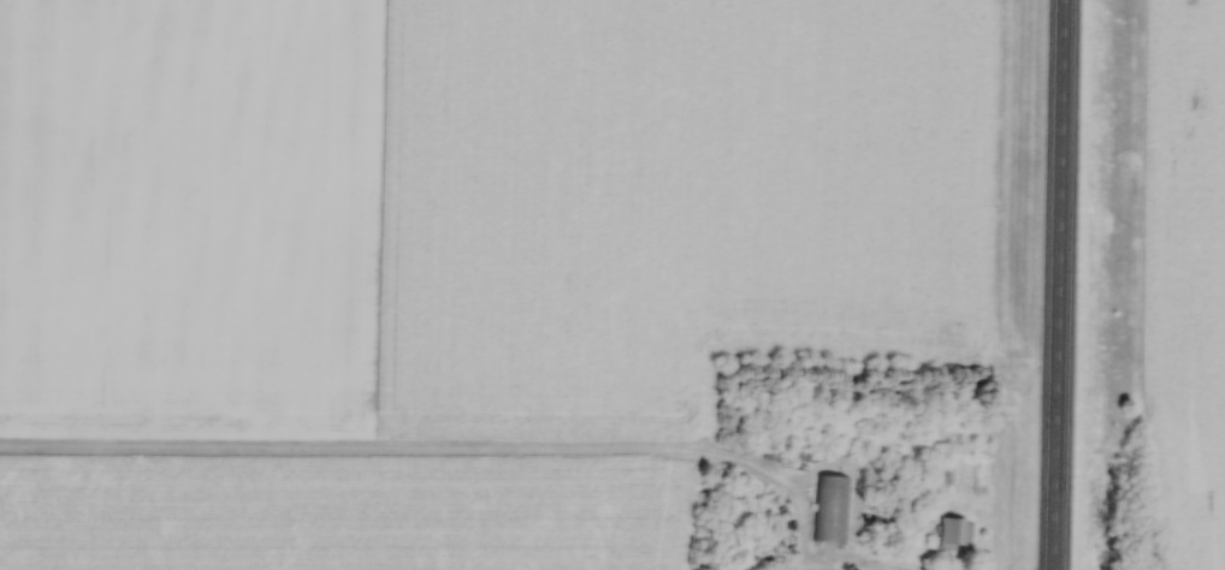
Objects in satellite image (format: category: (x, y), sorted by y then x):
road: (1055, 285)
building: (801, 458)
building: (830, 510)
building: (952, 533)
road: (857, 565)

